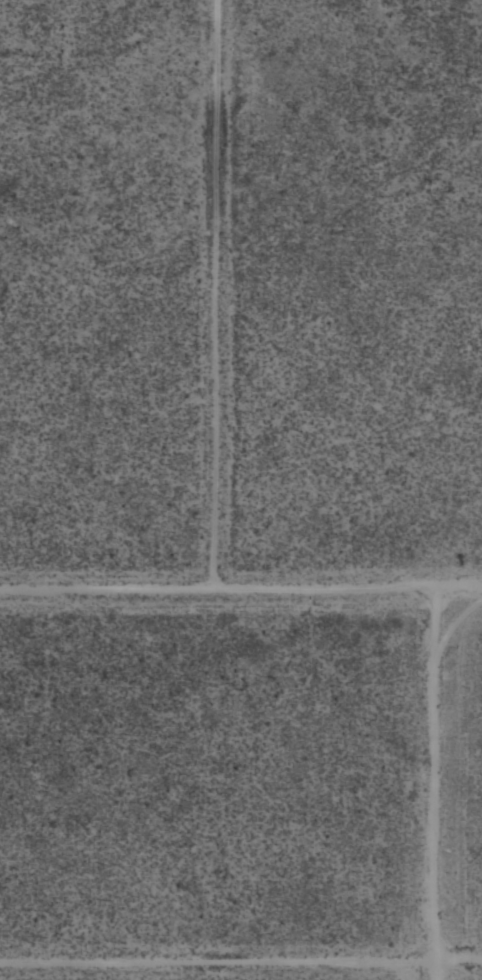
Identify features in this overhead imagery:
road: (240, 592)
road: (450, 786)
road: (241, 955)

